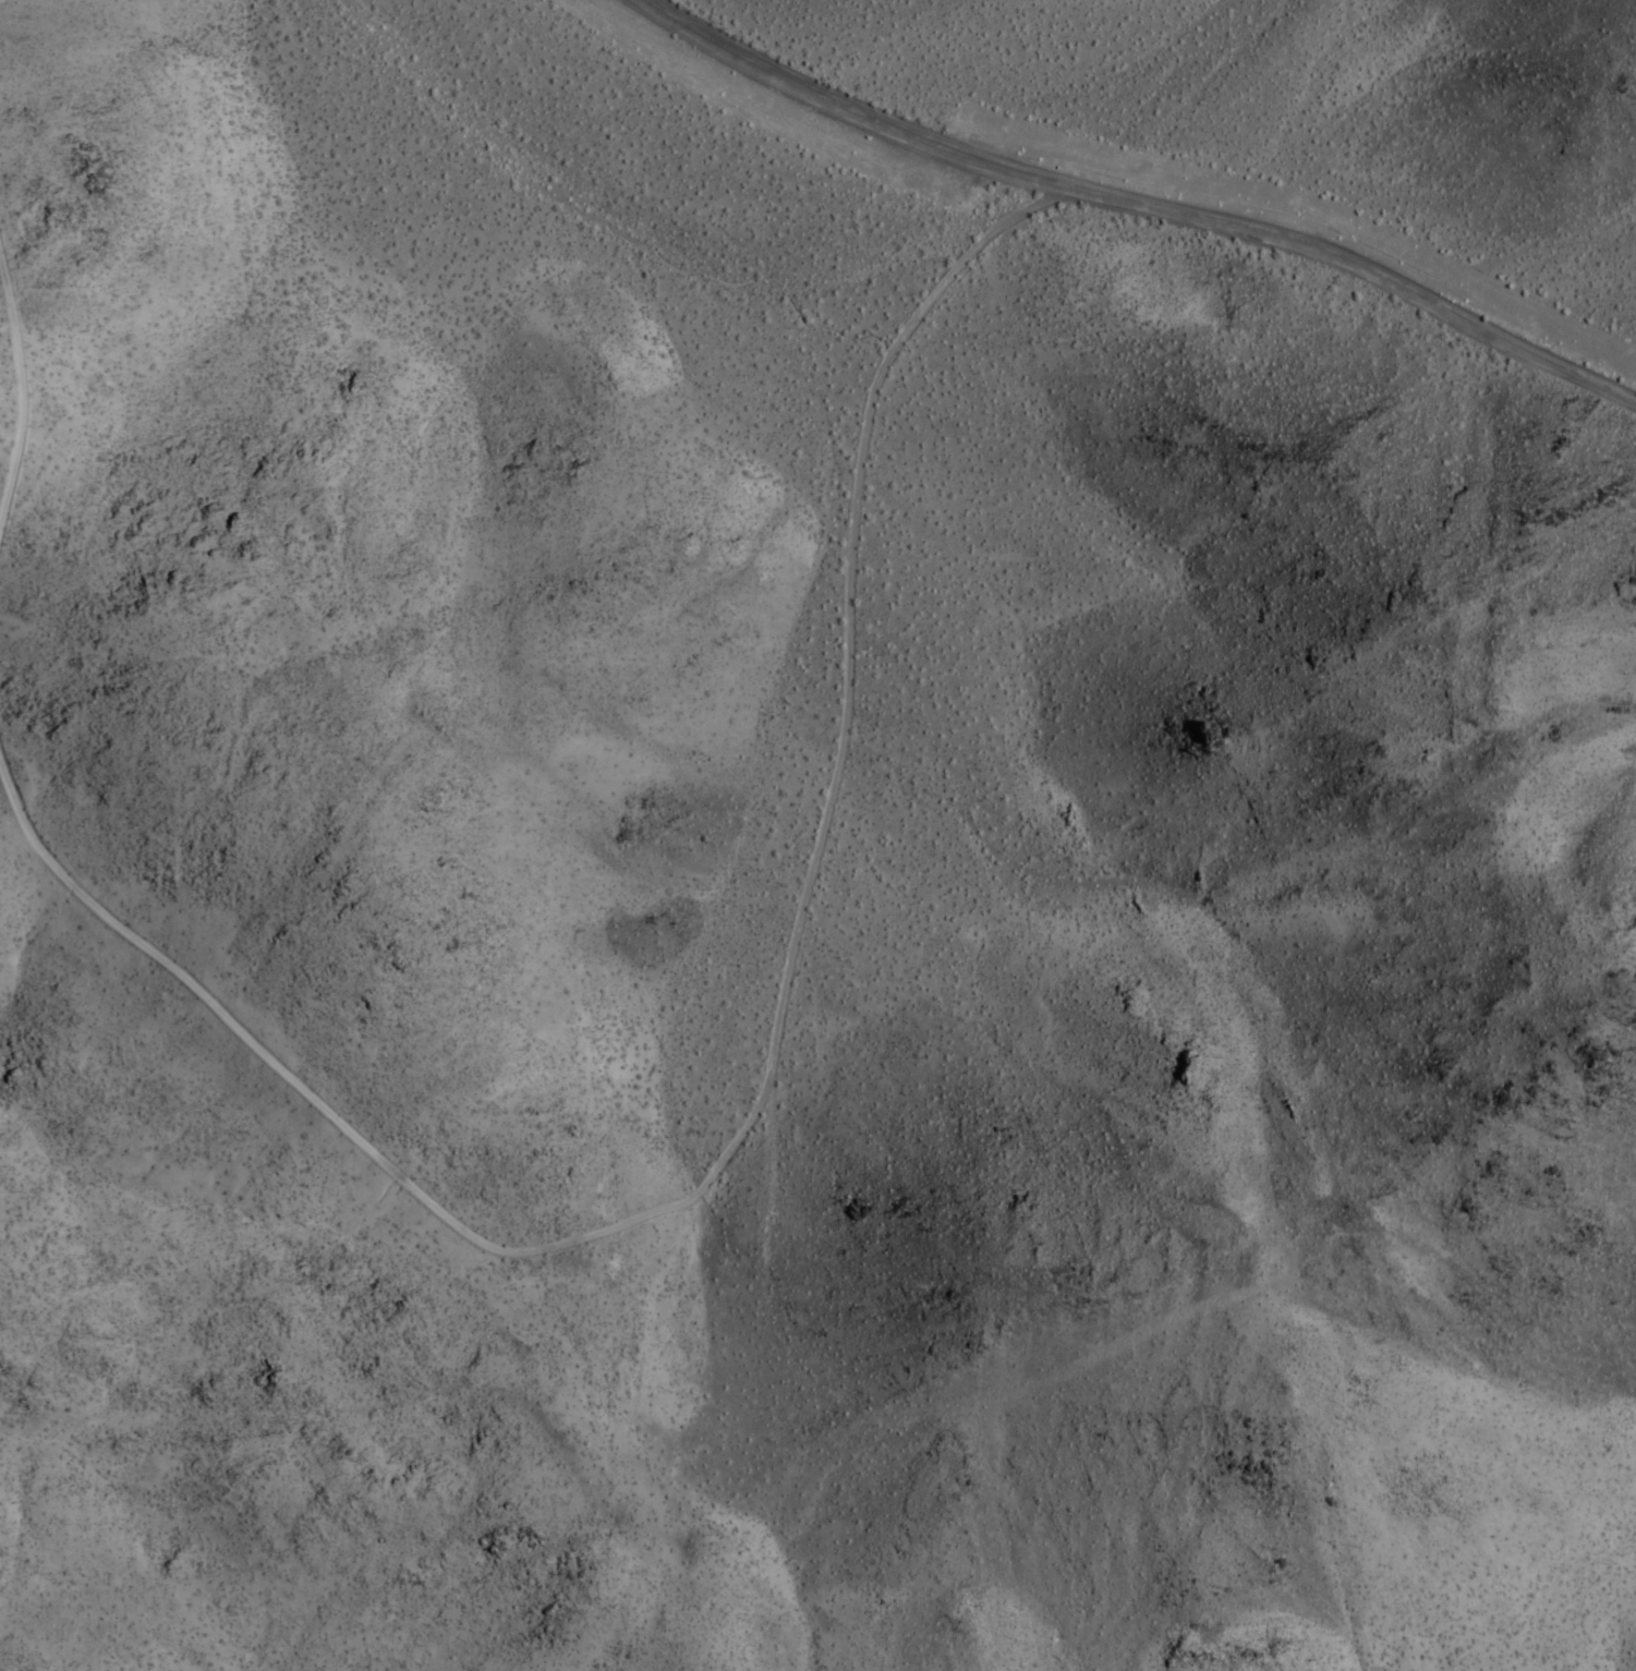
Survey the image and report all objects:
road: (1132, 209)
road: (17, 383)
road: (753, 1113)

